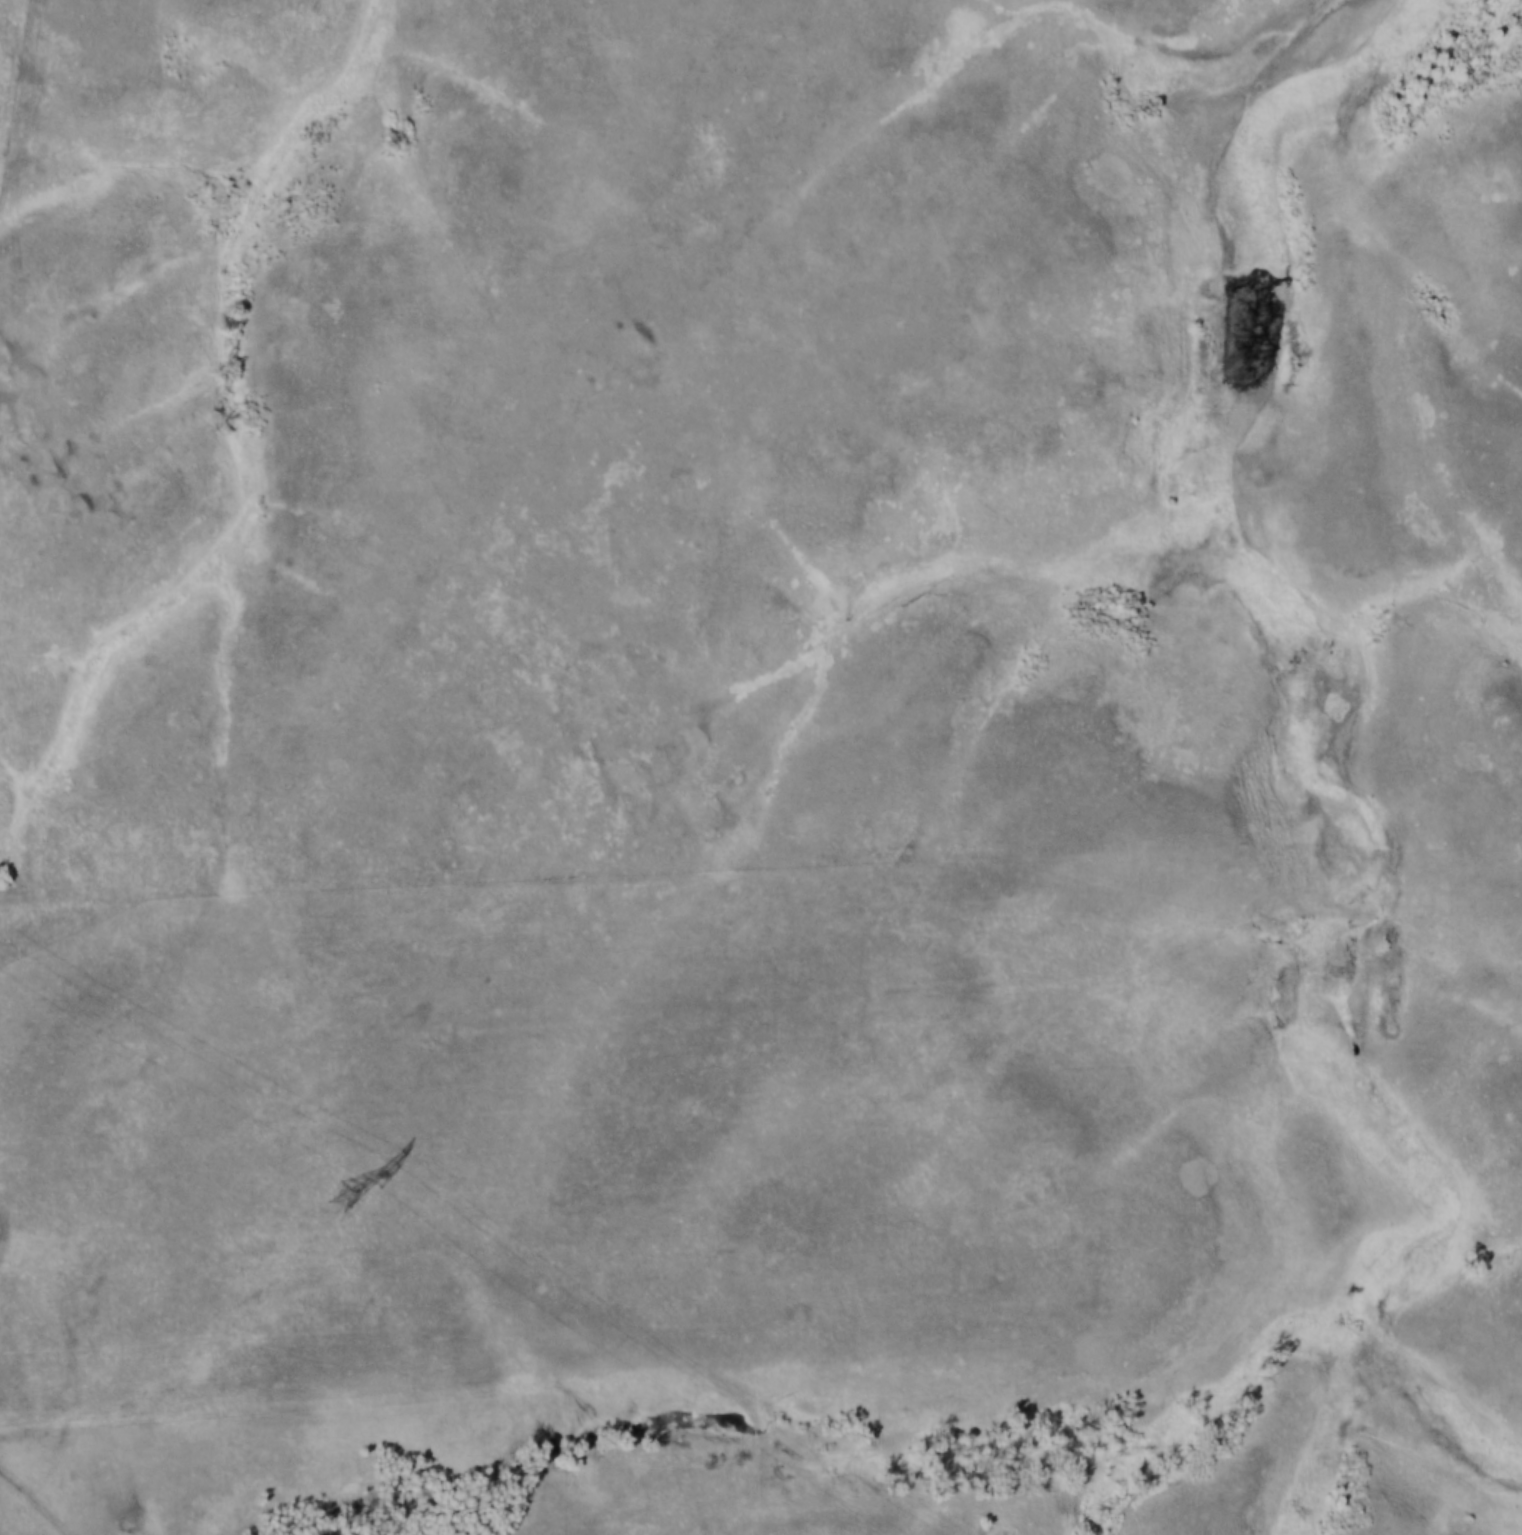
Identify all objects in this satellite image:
power tower: (347, 1198)

